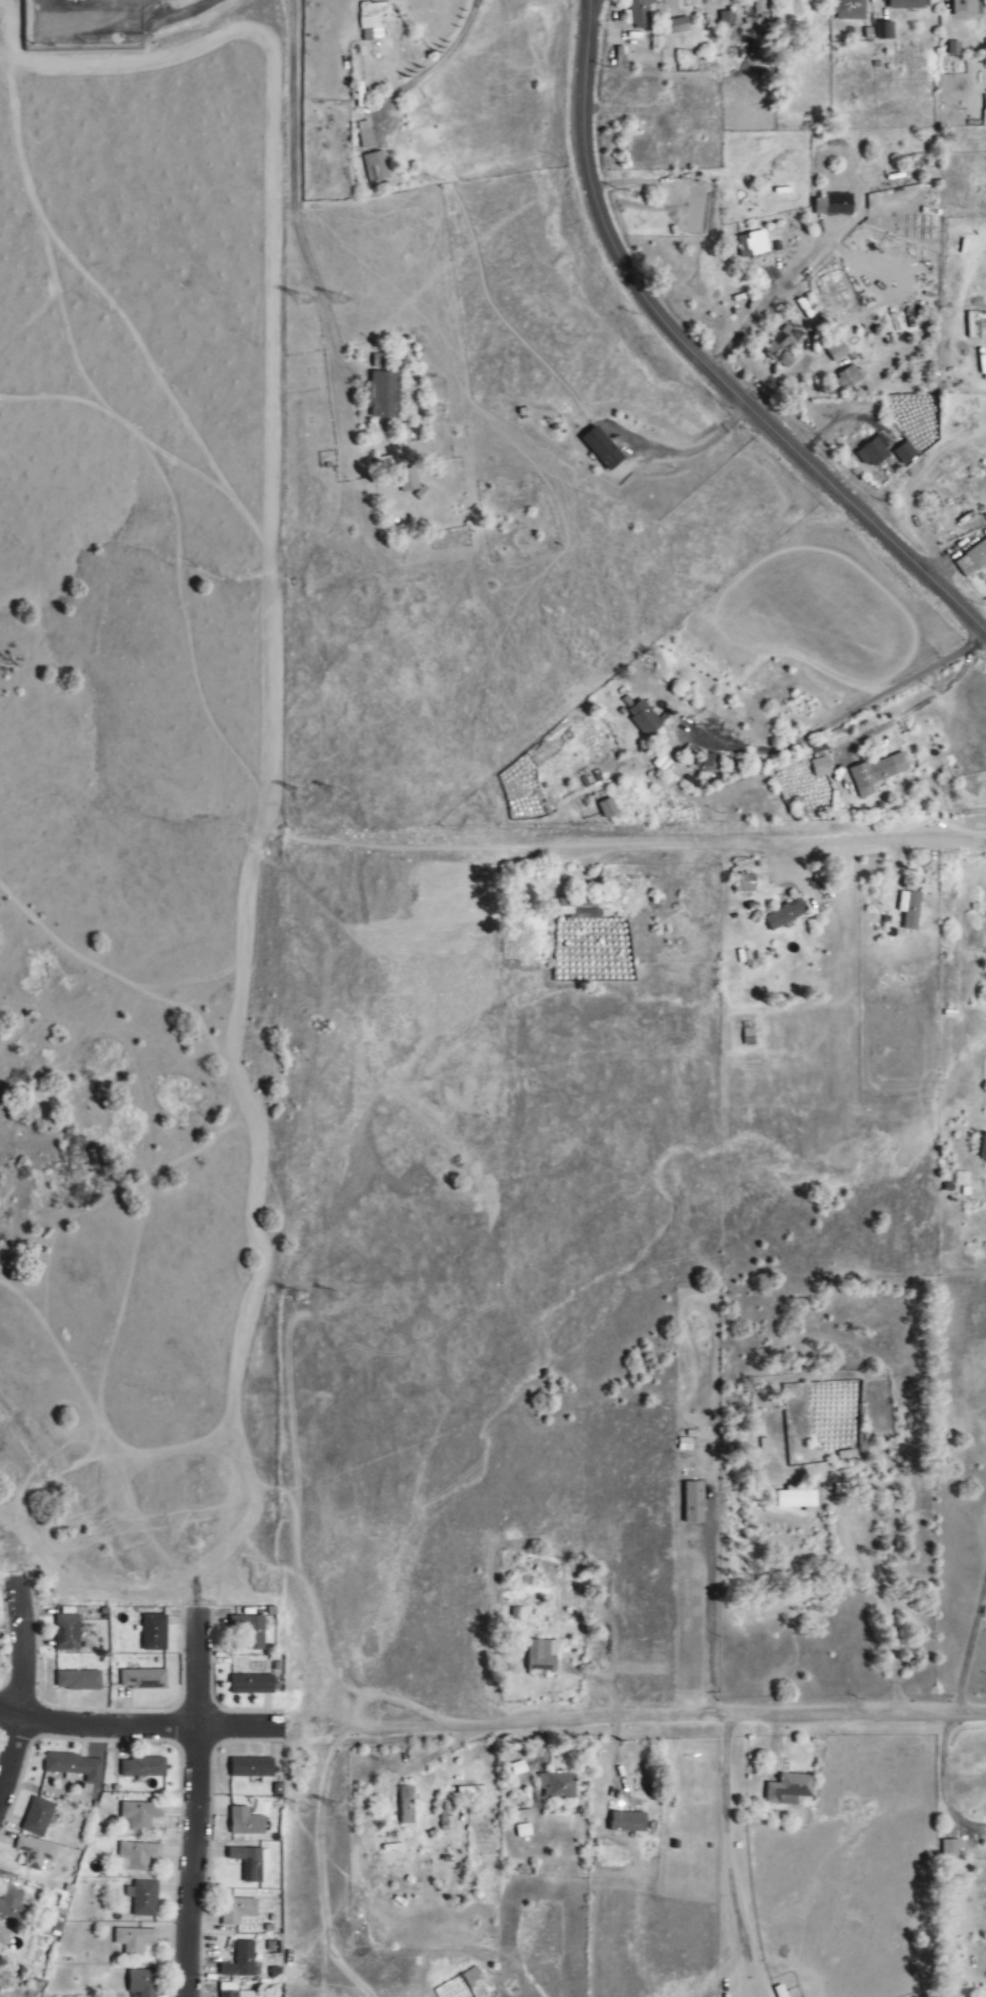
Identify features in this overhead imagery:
building: (907, 4)
building: (967, 7)
building: (847, 9)
road: (200, 10)
building: (640, 13)
building: (726, 19)
building: (372, 21)
power substation: (94, 25)
building: (679, 25)
building: (887, 30)
building: (954, 48)
building: (375, 166)
building: (834, 205)
building: (753, 244)
power tower: (307, 307)
power tower: (343, 309)
building: (782, 344)
building: (836, 351)
road: (699, 360)
building: (844, 362)
road: (543, 363)
building: (848, 377)
building: (383, 394)
building: (602, 448)
building: (872, 453)
building: (905, 453)
building: (408, 480)
road: (661, 482)
road: (752, 558)
building: (972, 560)
road: (849, 708)
building: (641, 715)
building: (711, 761)
building: (820, 767)
building: (876, 773)
power tower: (311, 799)
power tower: (343, 800)
building: (608, 808)
road: (767, 842)
building: (744, 883)
building: (581, 905)
building: (910, 909)
building: (785, 914)
building: (983, 1148)
power tower: (316, 1294)
power tower: (350, 1296)
building: (796, 1498)
building: (693, 1503)
building: (250, 1631)
building: (153, 1633)
building: (67, 1634)
road: (969, 1648)
building: (542, 1656)
building: (142, 1680)
building: (78, 1681)
building: (251, 1685)
road: (23, 1692)
road: (356, 1709)
road: (729, 1717)
road: (118, 1727)
building: (75, 1768)
building: (143, 1768)
building: (252, 1768)
road: (941, 1784)
building: (557, 1789)
building: (789, 1789)
power tower: (314, 1804)
road: (199, 1806)
power tower: (348, 1806)
building: (406, 1806)
building: (138, 1816)
building: (37, 1818)
building: (246, 1823)
building: (628, 1823)
building: (522, 1831)
road: (725, 1838)
building: (951, 1849)
building: (36, 1855)
building: (136, 1856)
road: (320, 1862)
building: (249, 1863)
building: (143, 1899)
building: (13, 1904)
building: (237, 1911)
building: (3, 1937)
building: (134, 1941)
building: (240, 1962)
building: (472, 1977)
building: (141, 1983)
building: (236, 1994)

